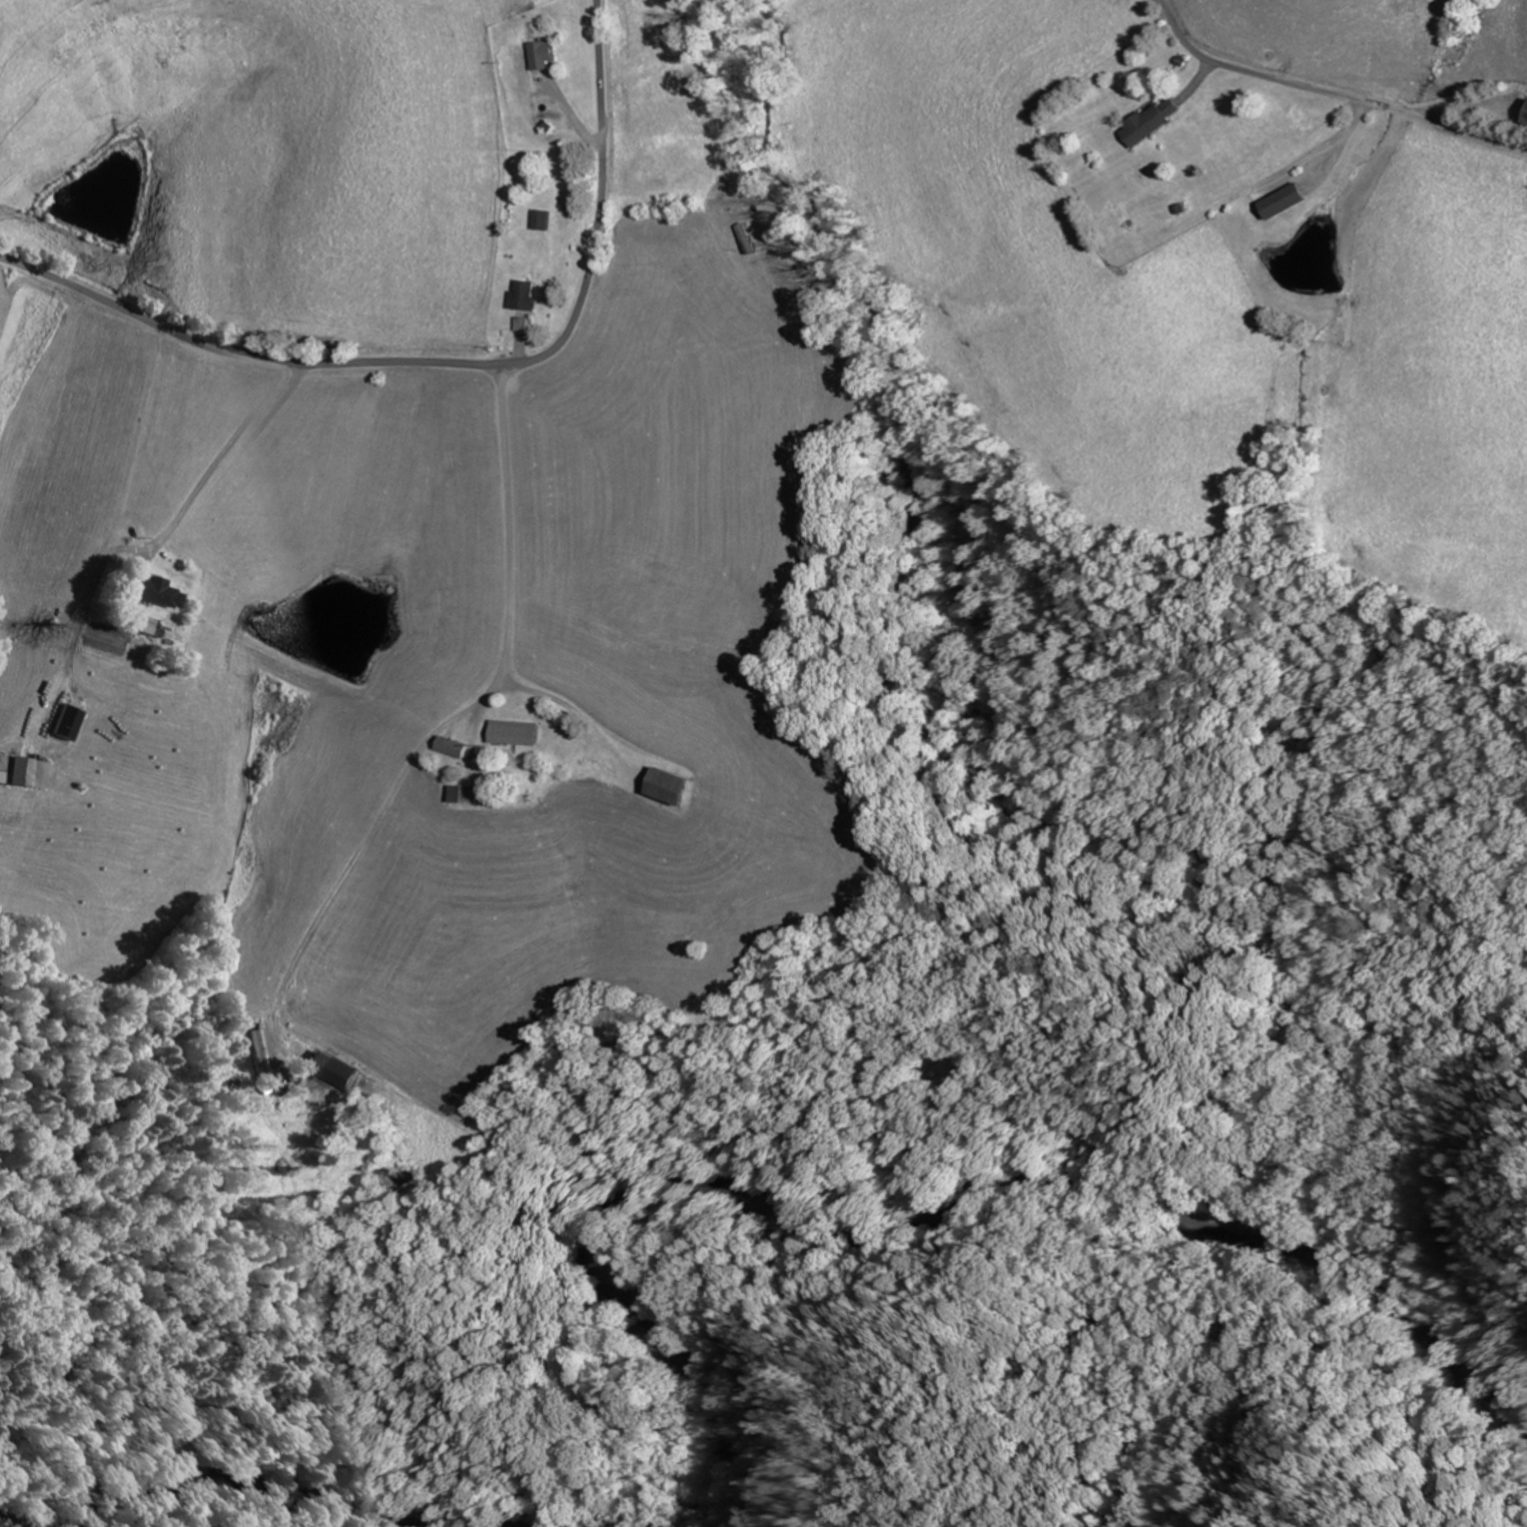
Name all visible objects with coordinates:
building: (542, 57)
road: (1230, 69)
building: (1525, 118)
building: (1143, 127)
building: (1281, 203)
building: (540, 221)
building: (1115, 223)
building: (522, 296)
building: (518, 323)
road: (447, 365)
building: (161, 592)
road: (463, 609)
building: (152, 626)
building: (73, 723)
building: (516, 735)
building: (454, 747)
road: (450, 758)
building: (29, 771)
building: (671, 786)
building: (467, 794)
building: (267, 1055)
building: (333, 1071)

